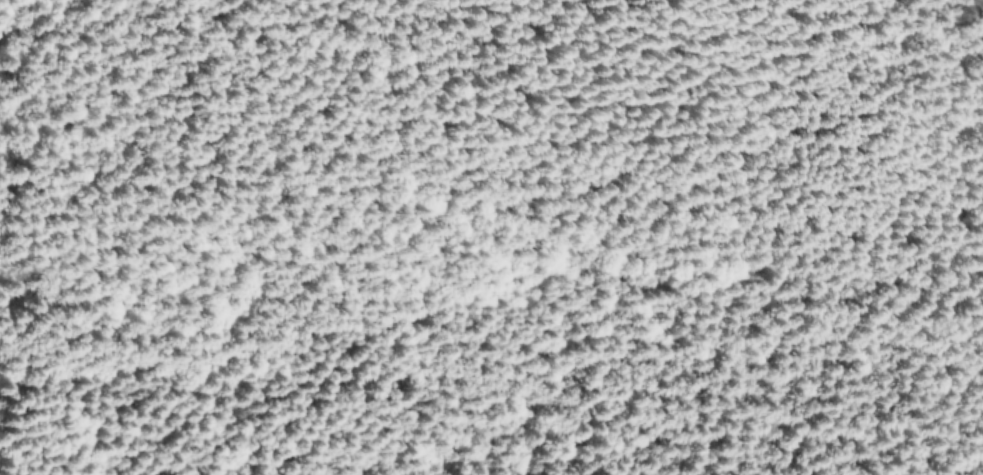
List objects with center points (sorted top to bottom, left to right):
road: (949, 23)

